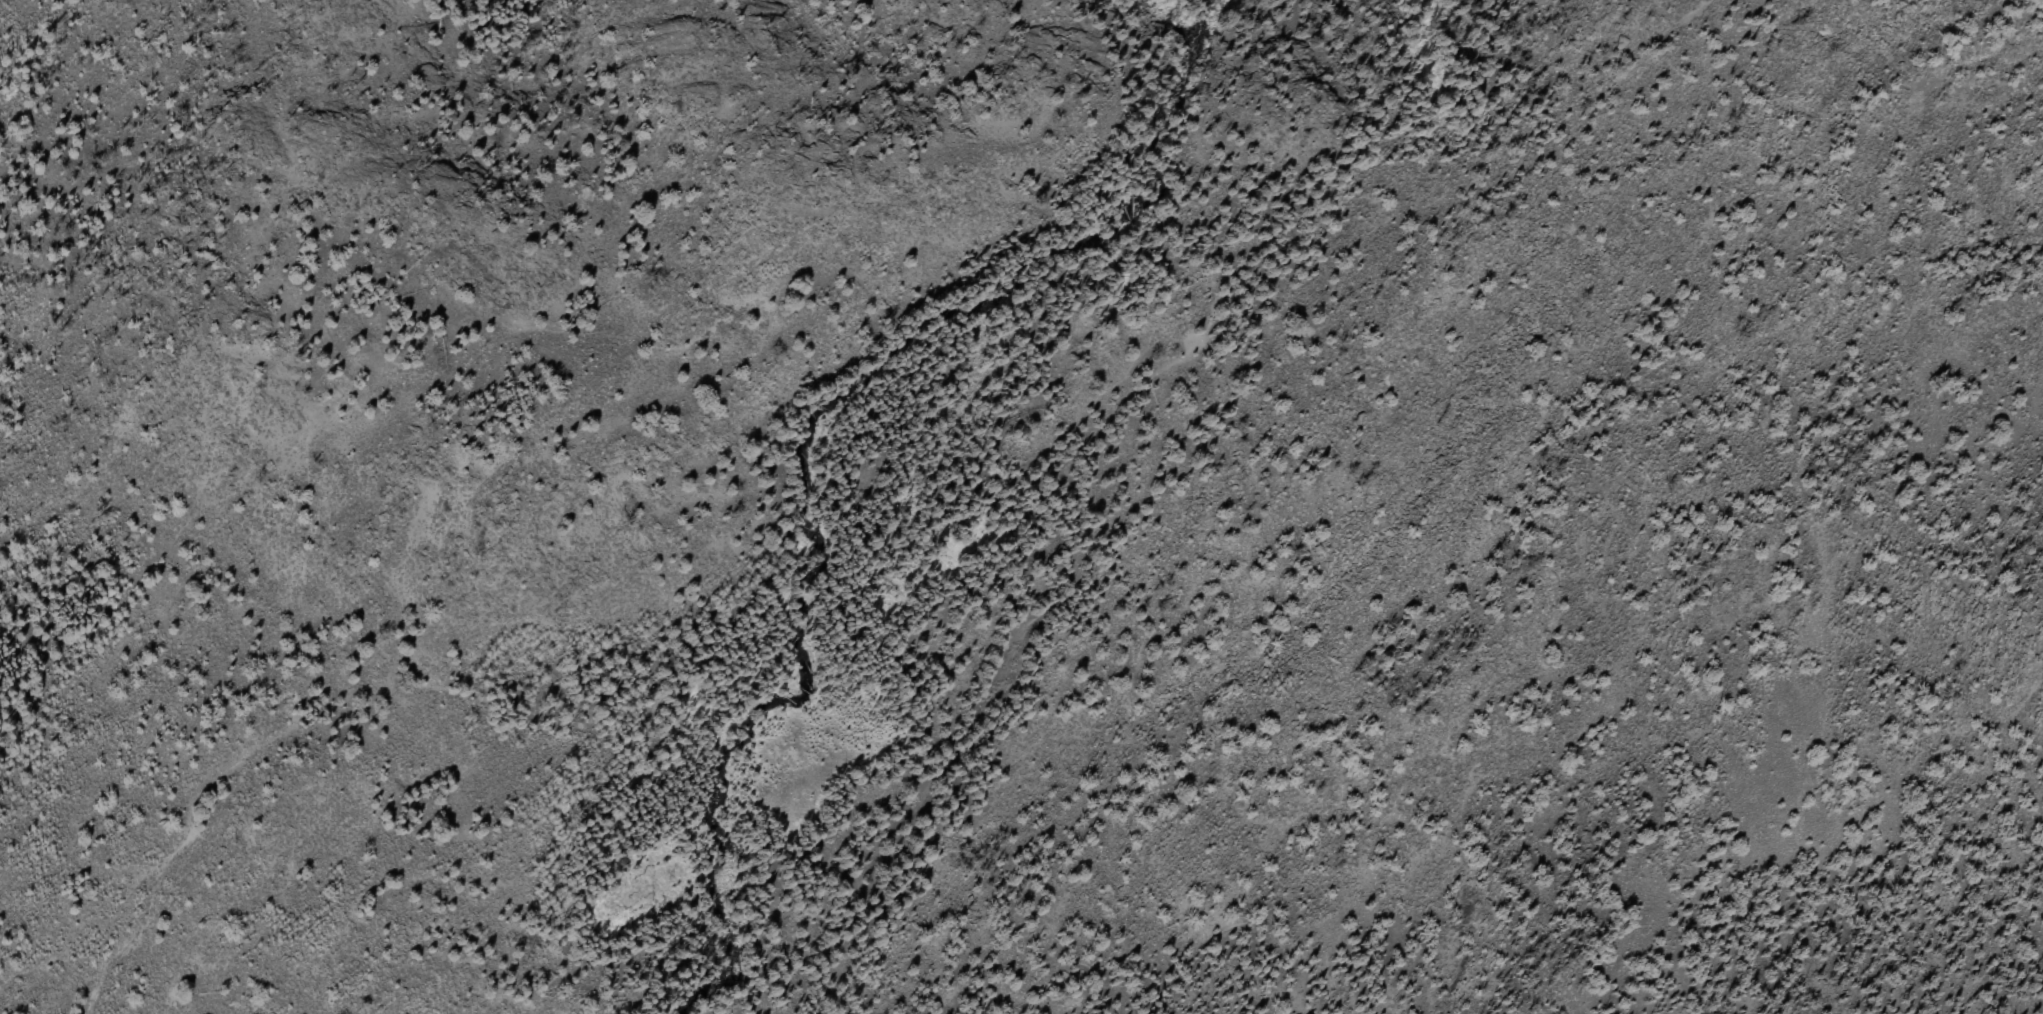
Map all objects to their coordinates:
road: (1094, 479)

